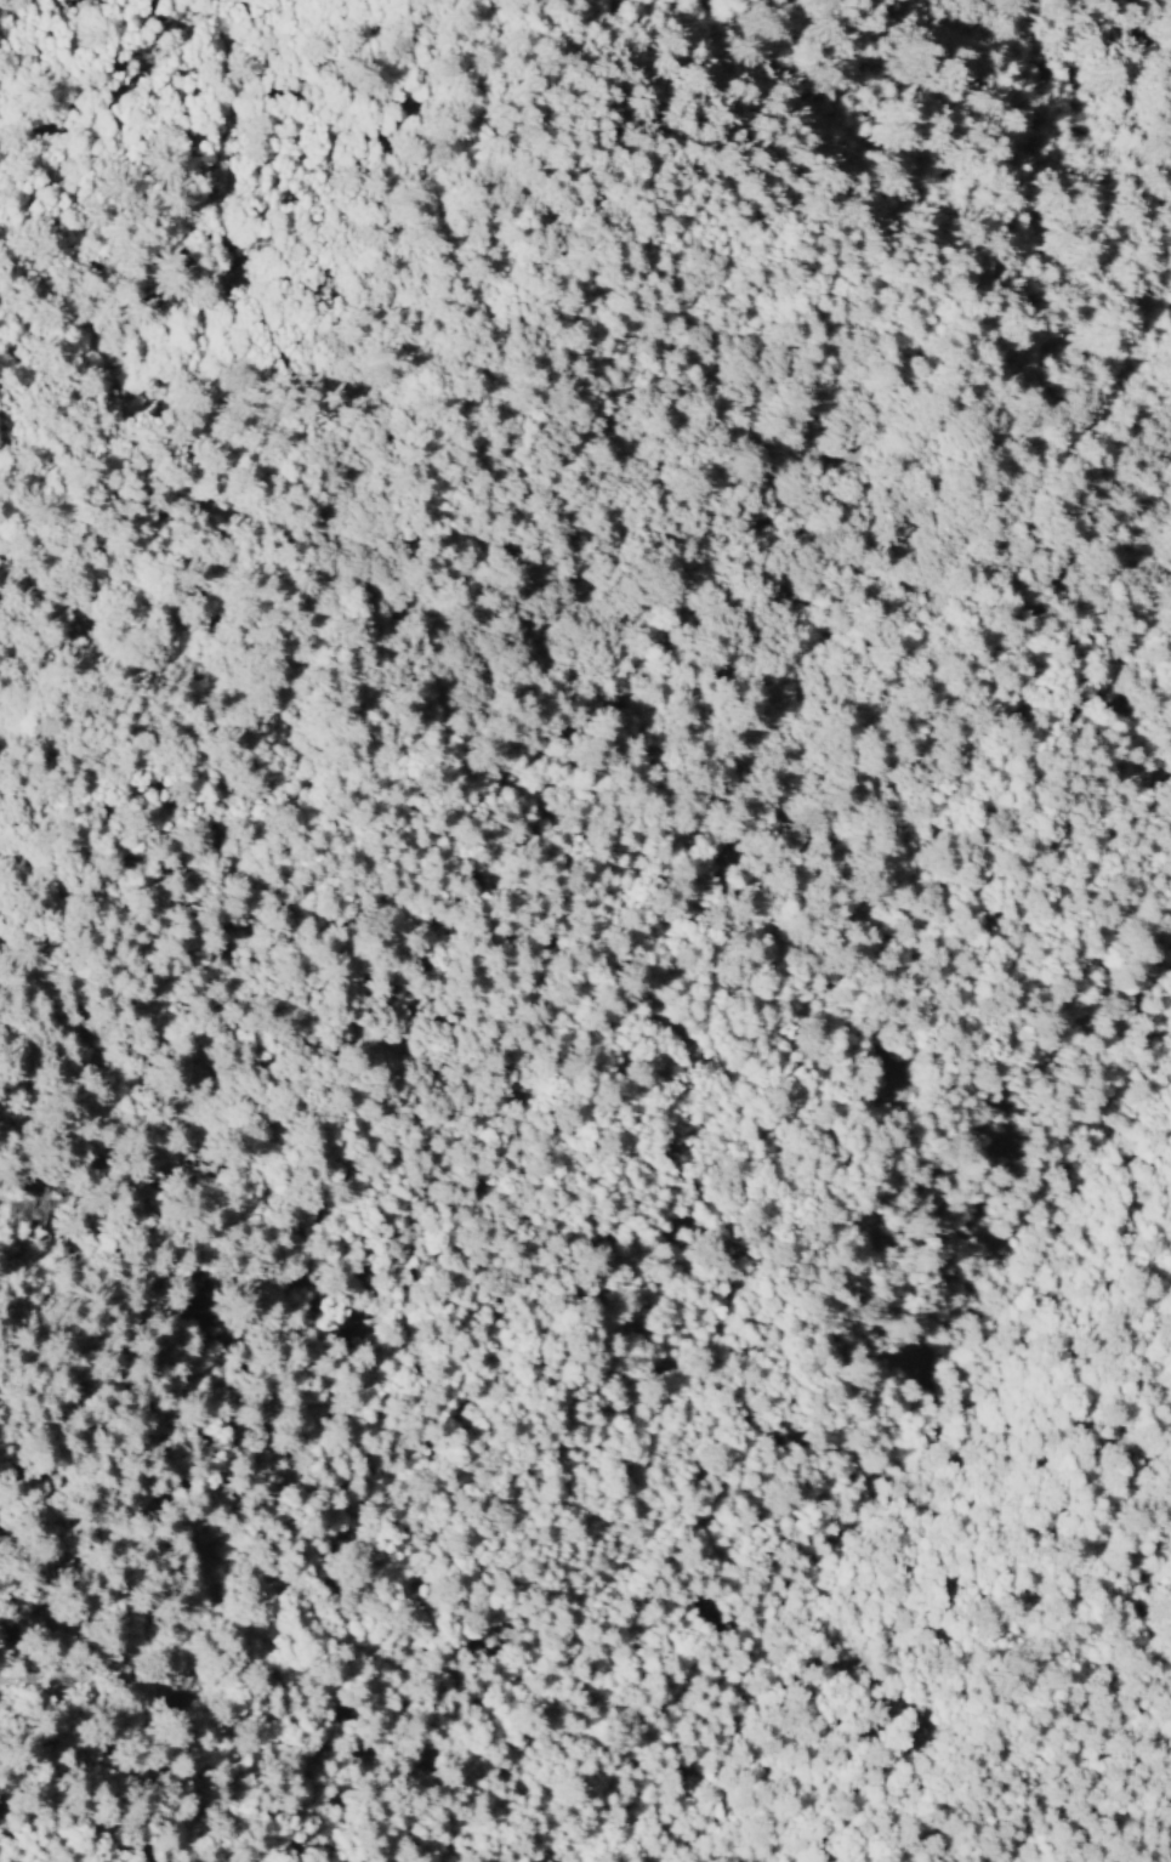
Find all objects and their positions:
road: (424, 562)

